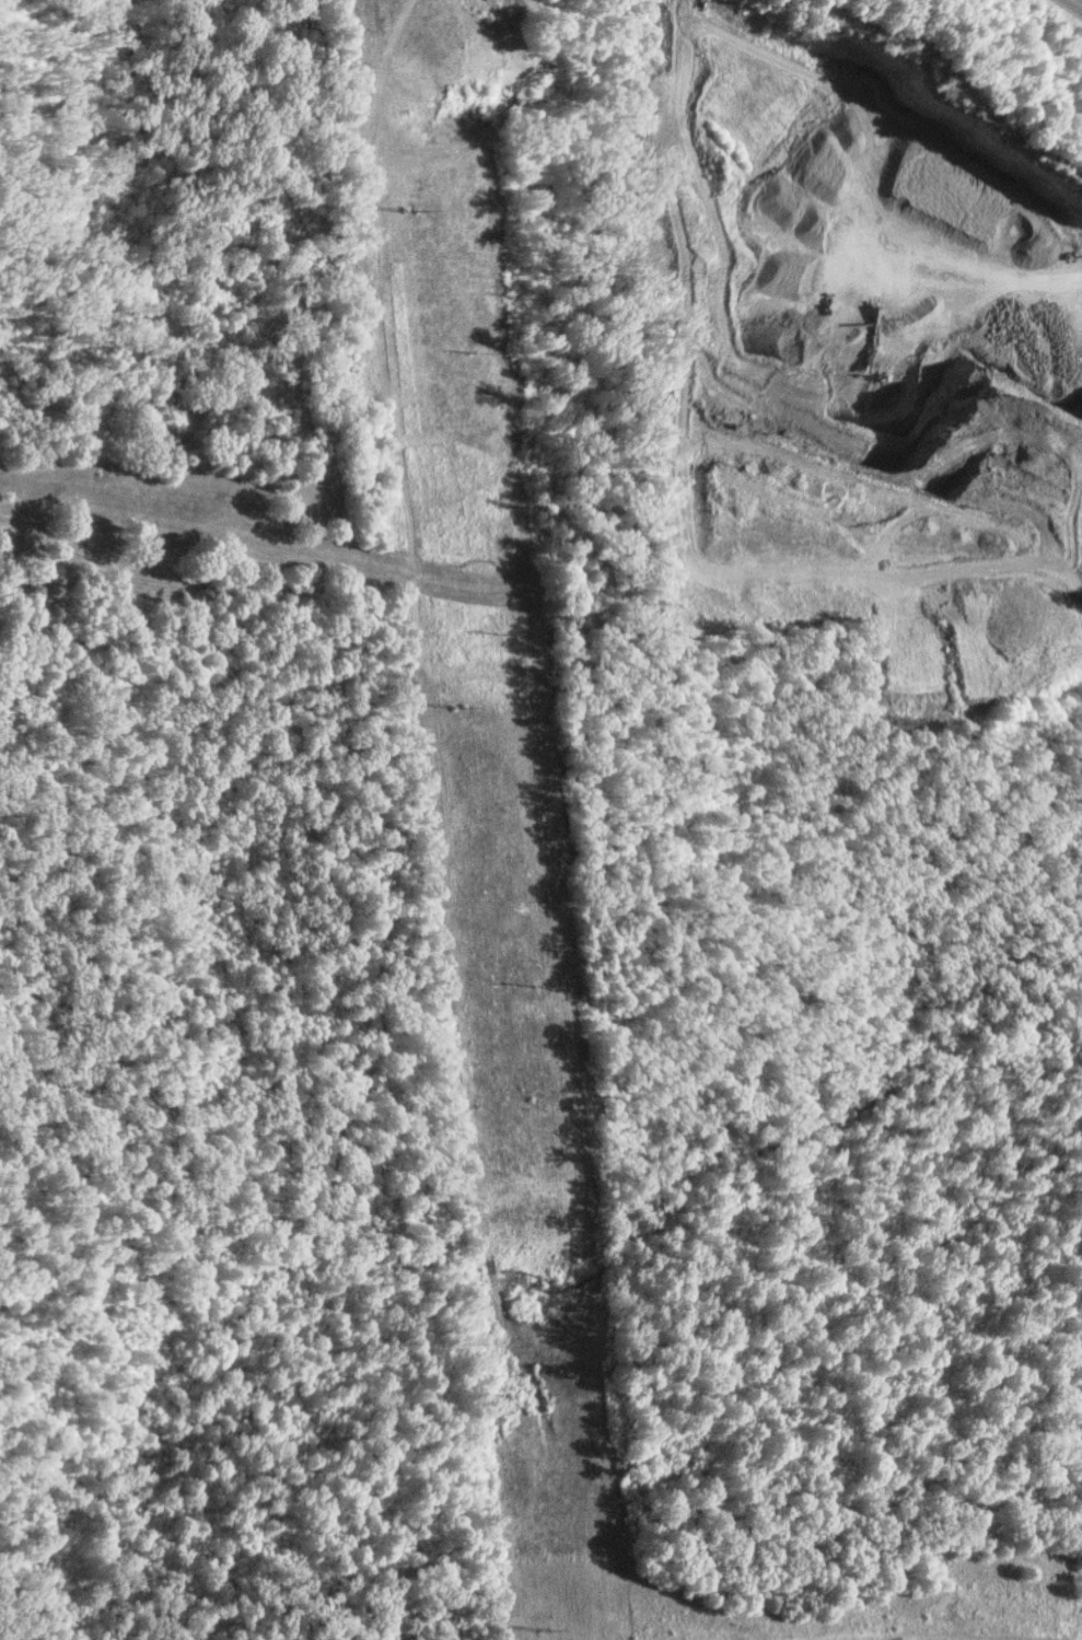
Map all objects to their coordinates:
road: (1080, 1)
quarry: (864, 332)

